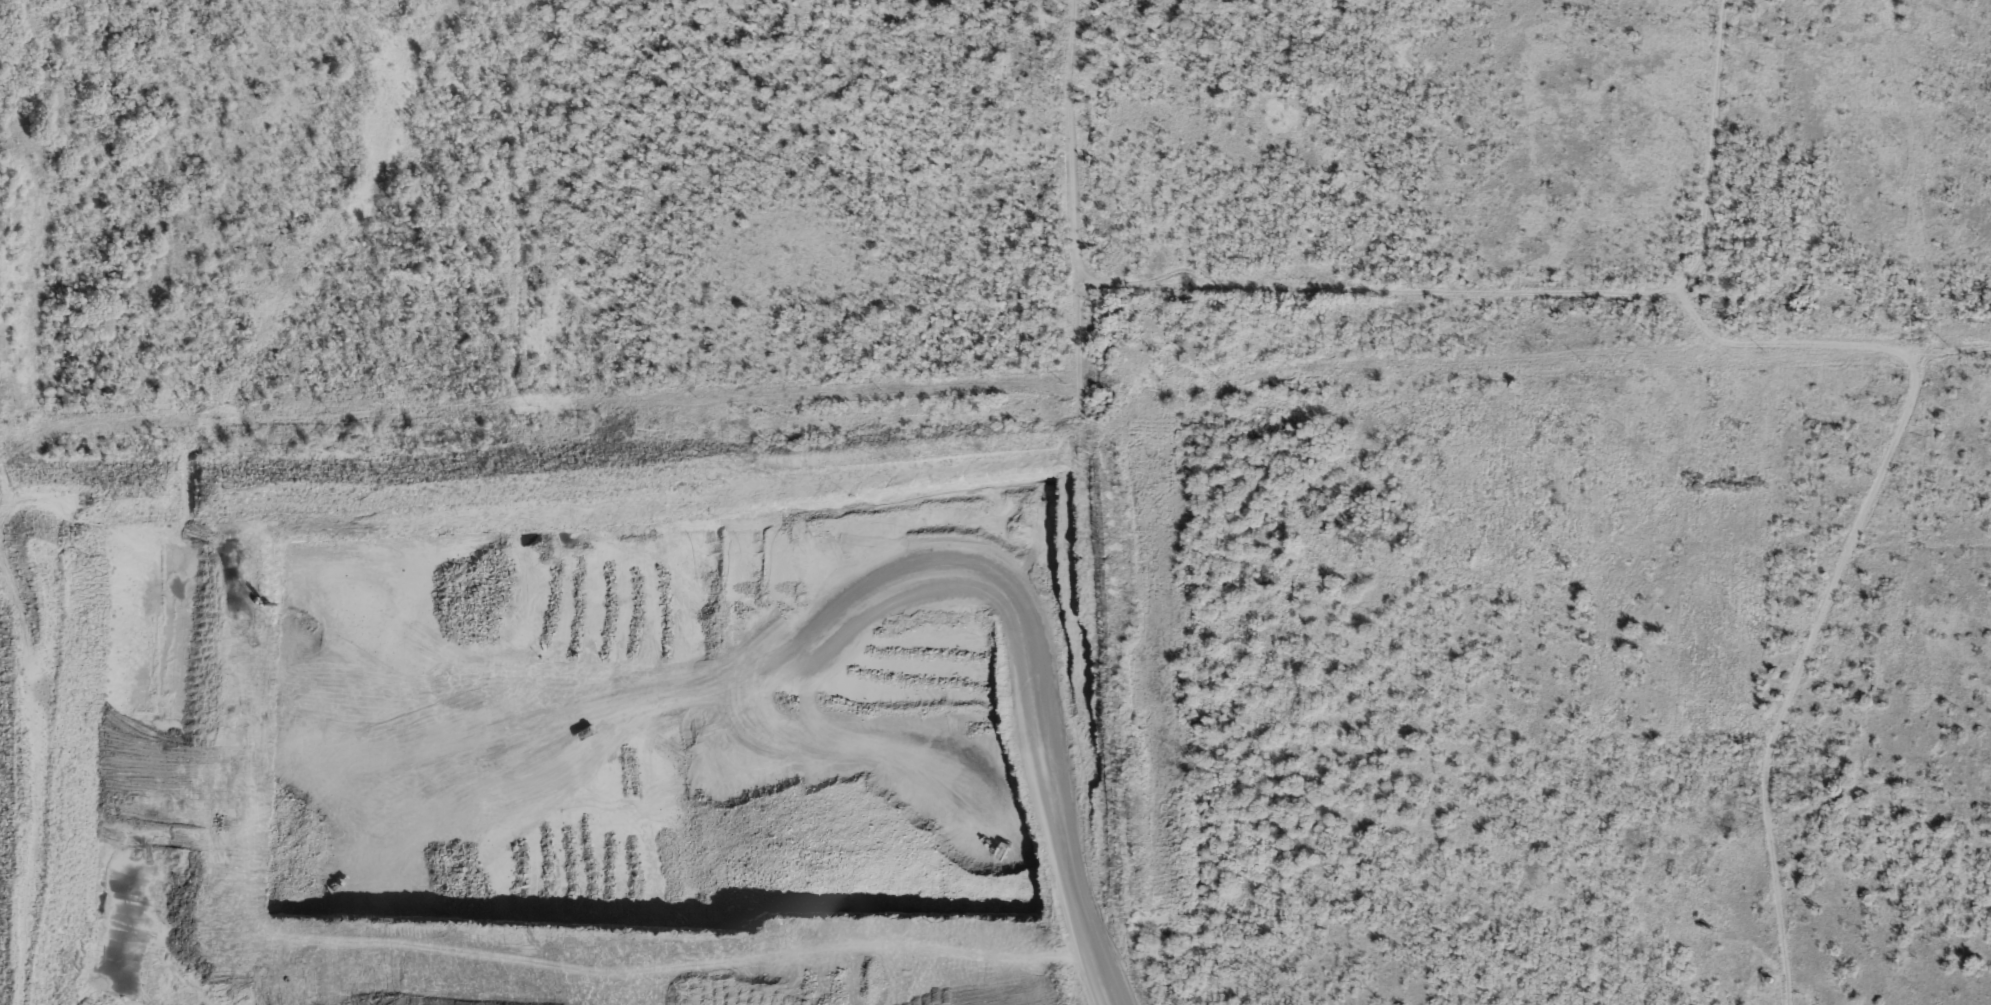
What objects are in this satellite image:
road: (1075, 140)
road: (1538, 301)
quarry: (928, 702)
road: (1066, 869)

